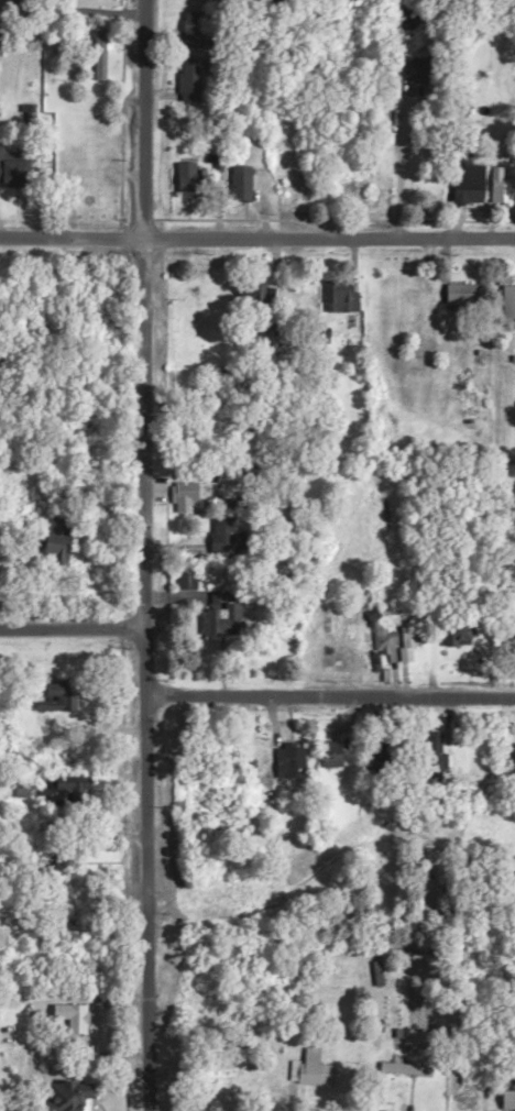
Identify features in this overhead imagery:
building: (201, 0)
building: (347, 1)
building: (195, 32)
building: (101, 56)
building: (423, 73)
building: (196, 82)
building: (17, 174)
building: (90, 176)
building: (193, 182)
building: (244, 187)
building: (472, 187)
building: (504, 191)
building: (363, 193)
road: (256, 242)
building: (253, 296)
building: (467, 296)
building: (340, 302)
building: (511, 306)
road: (144, 316)
building: (188, 501)
building: (65, 540)
building: (231, 542)
building: (229, 619)
road: (72, 632)
building: (461, 639)
building: (410, 640)
building: (383, 641)
building: (65, 698)
road: (330, 700)
building: (333, 757)
building: (294, 765)
building: (512, 765)
road: (145, 871)
building: (377, 977)
building: (73, 1019)
building: (316, 1074)
building: (72, 1099)
building: (475, 1102)
building: (509, 1102)

